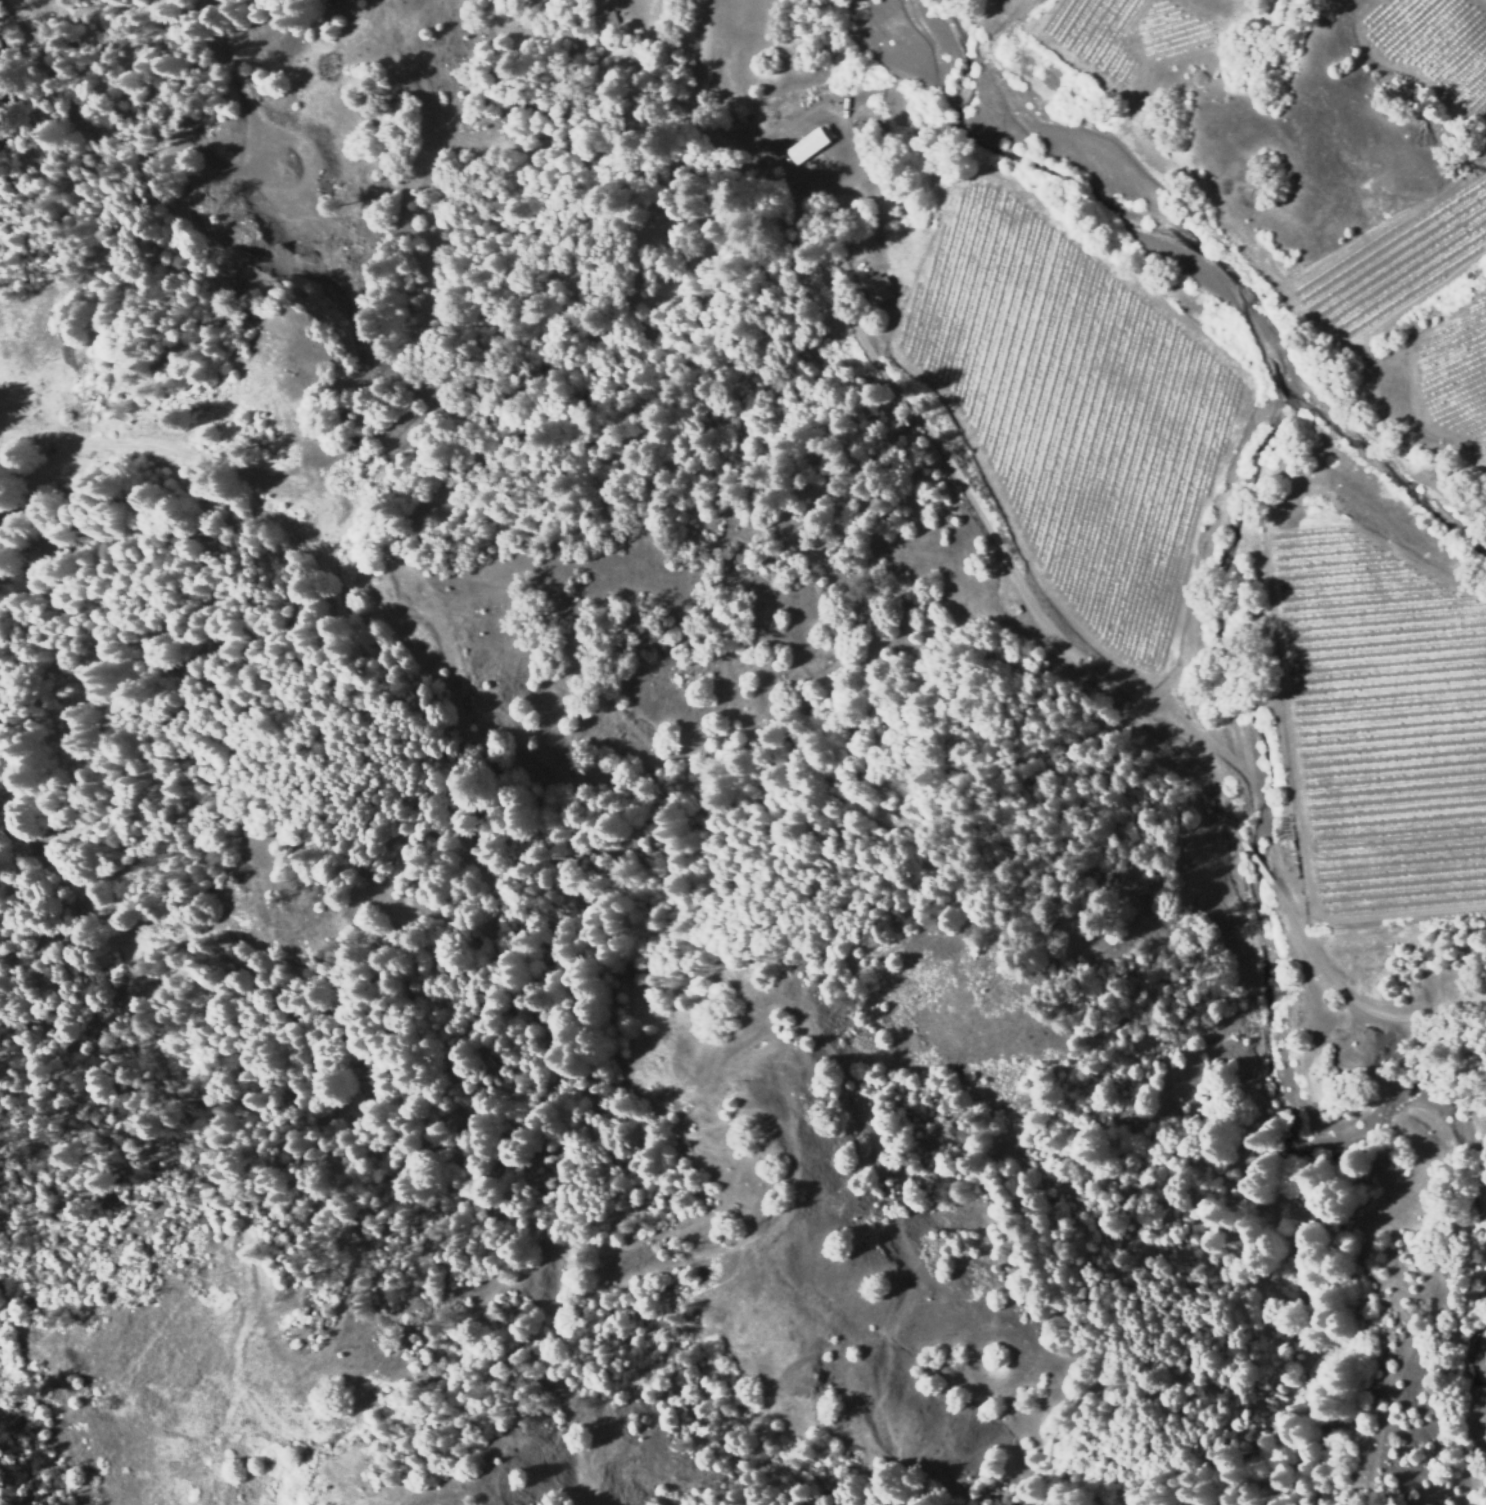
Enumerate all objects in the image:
building: (870, 139)
building: (813, 145)
building: (877, 286)
road: (1170, 545)
road: (1024, 577)
building: (1022, 609)
road: (1158, 693)

